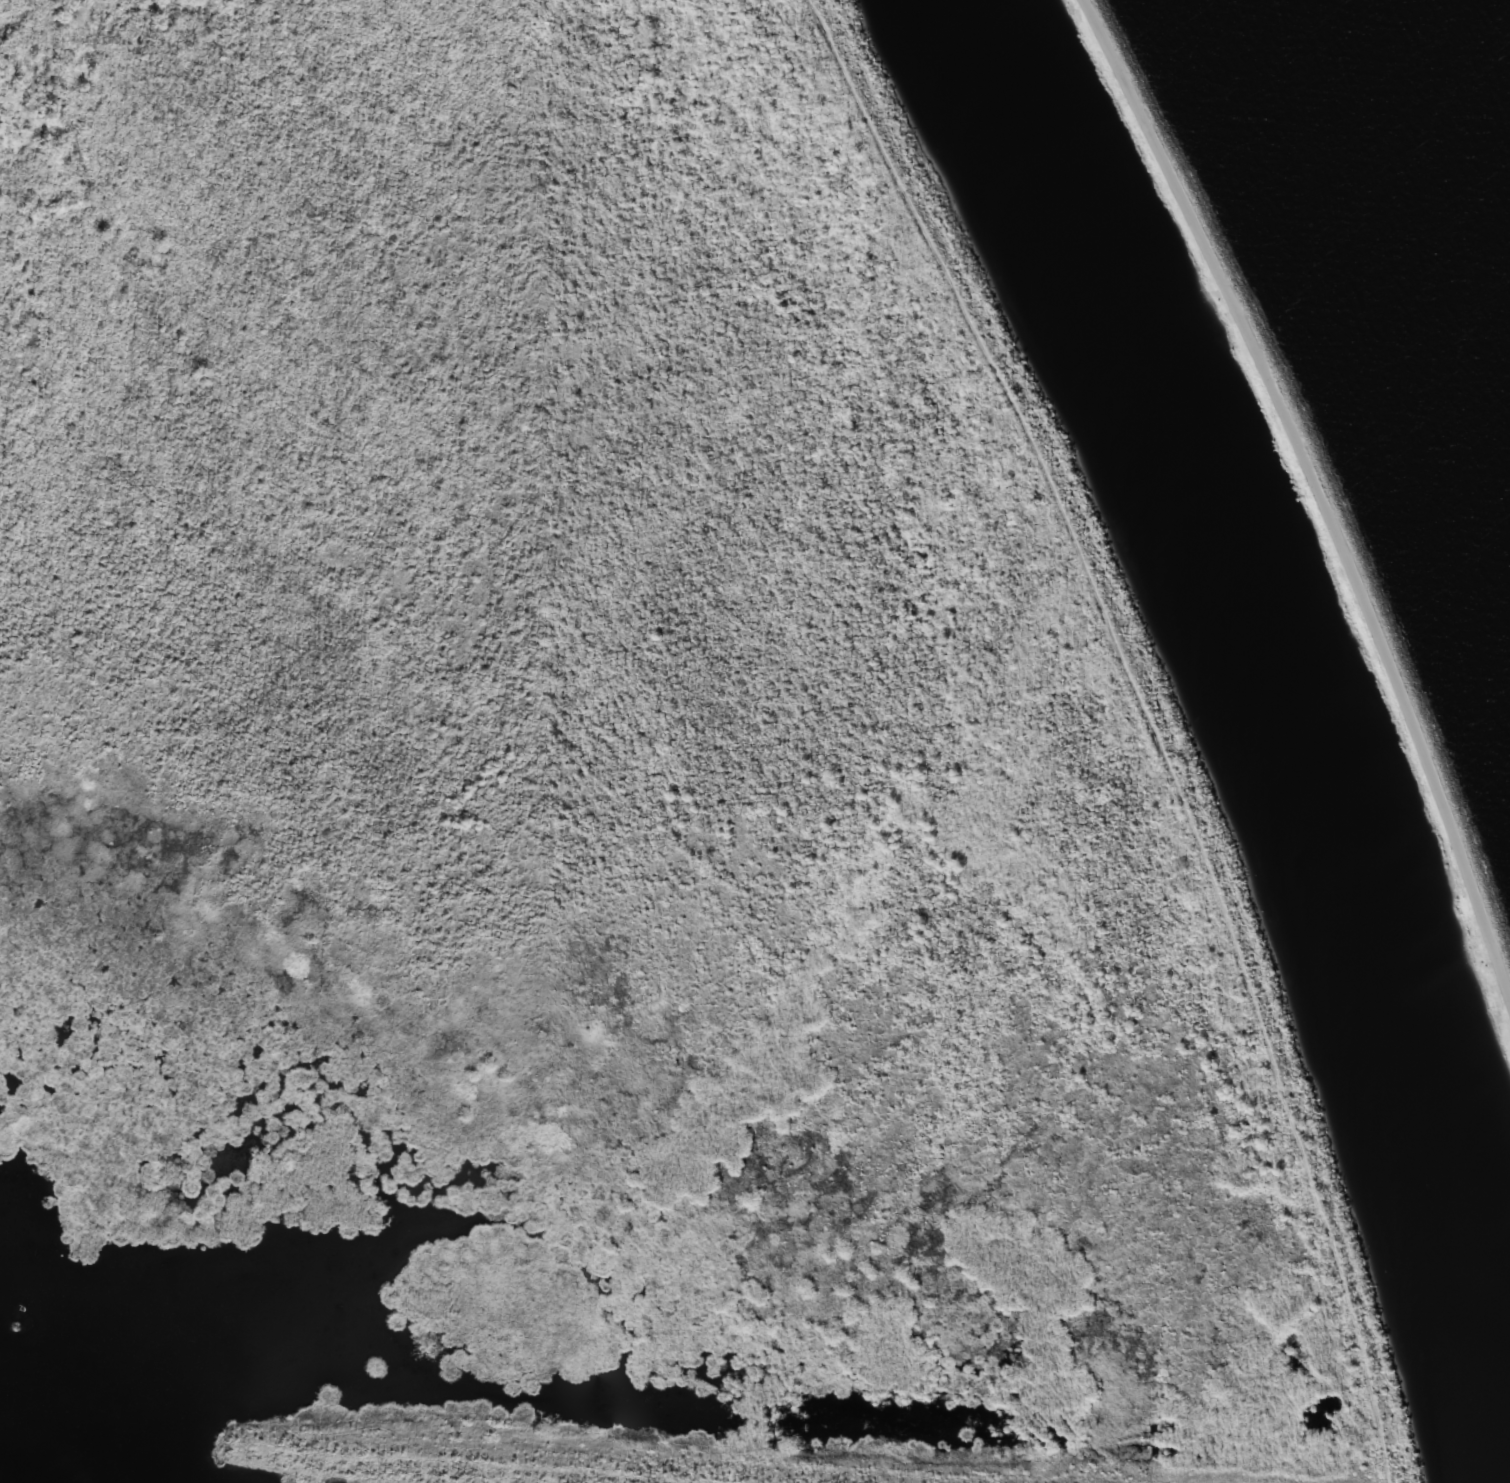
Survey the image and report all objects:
road: (1310, 472)
road: (1504, 978)

